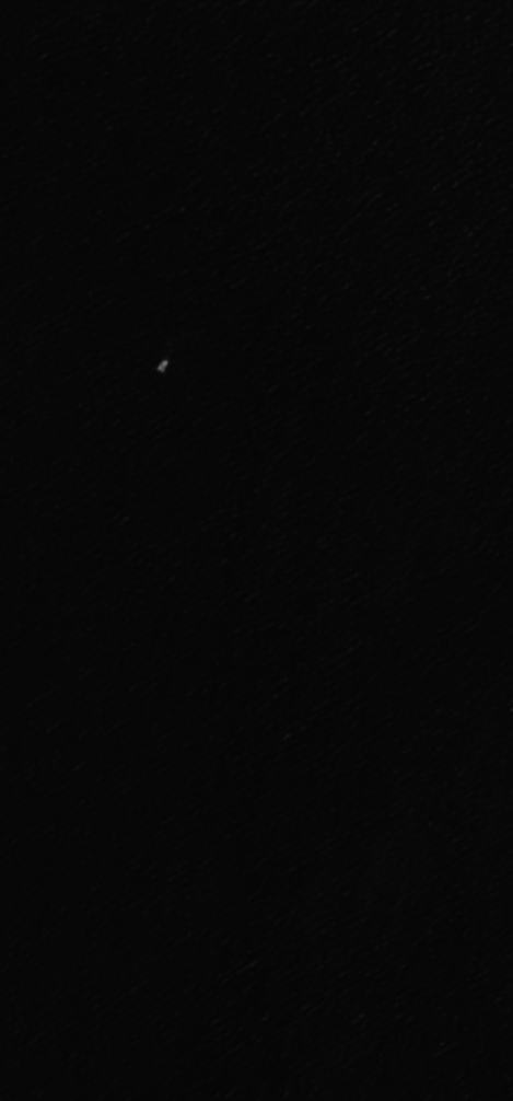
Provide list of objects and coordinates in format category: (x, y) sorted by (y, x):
park: (256, 550)
river: (224, 894)

